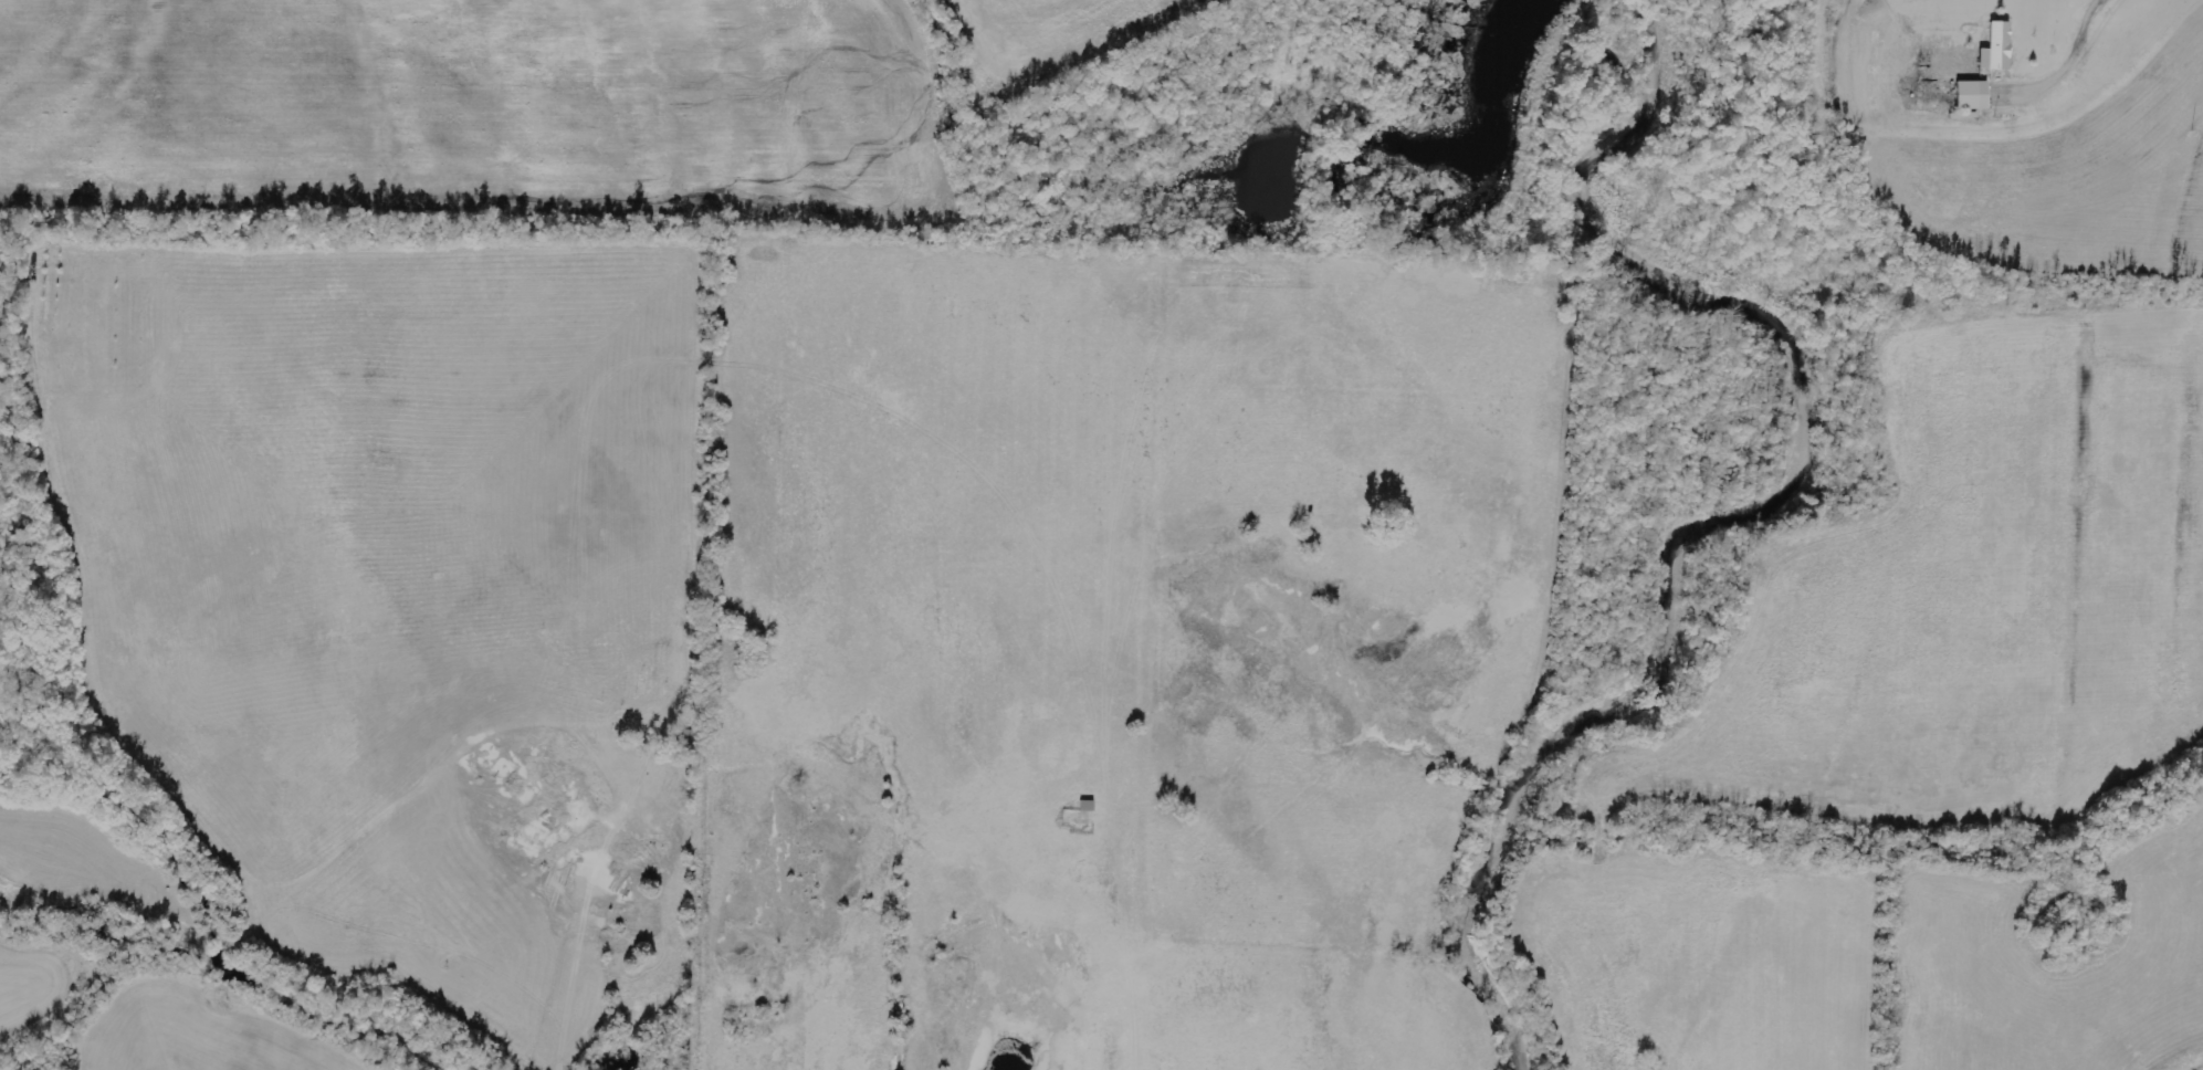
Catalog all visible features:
building: (1994, 50)
building: (1970, 96)

